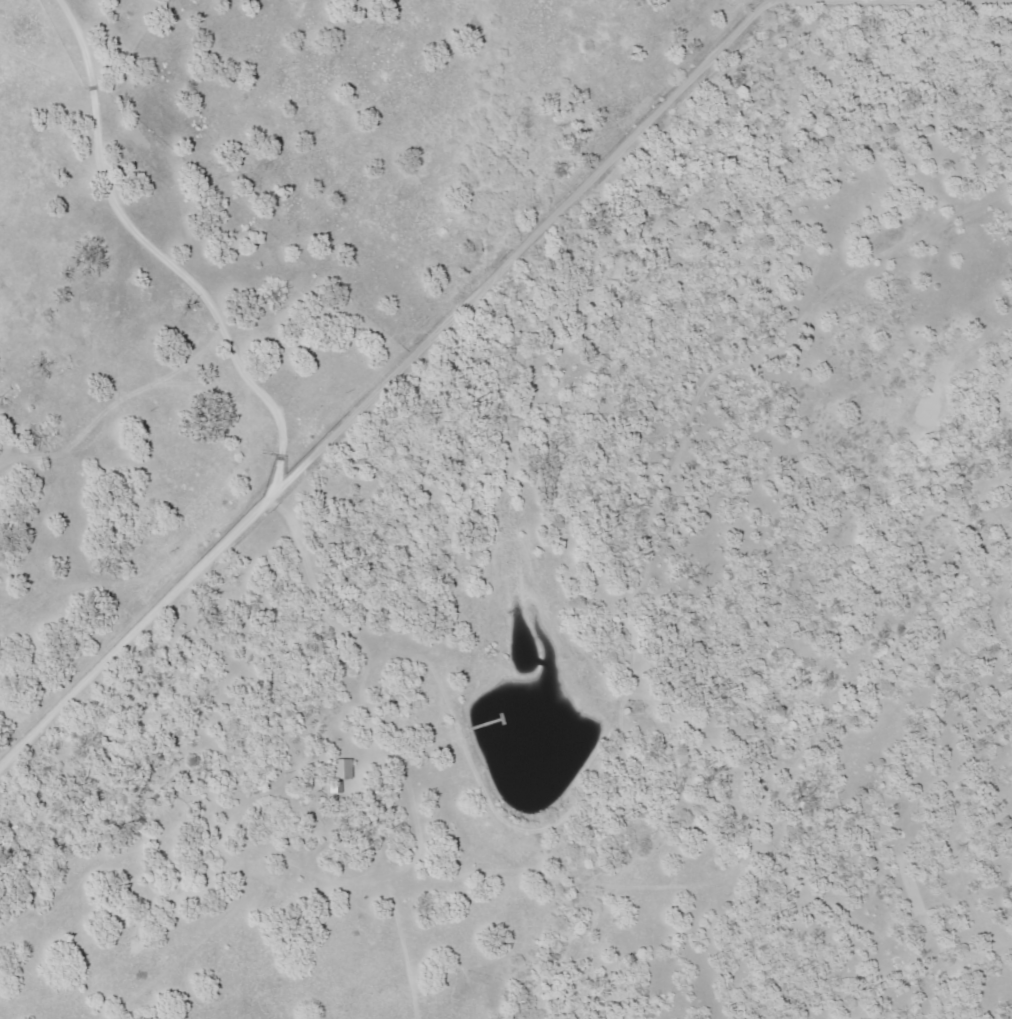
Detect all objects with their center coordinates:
road: (384, 386)
building: (340, 774)

